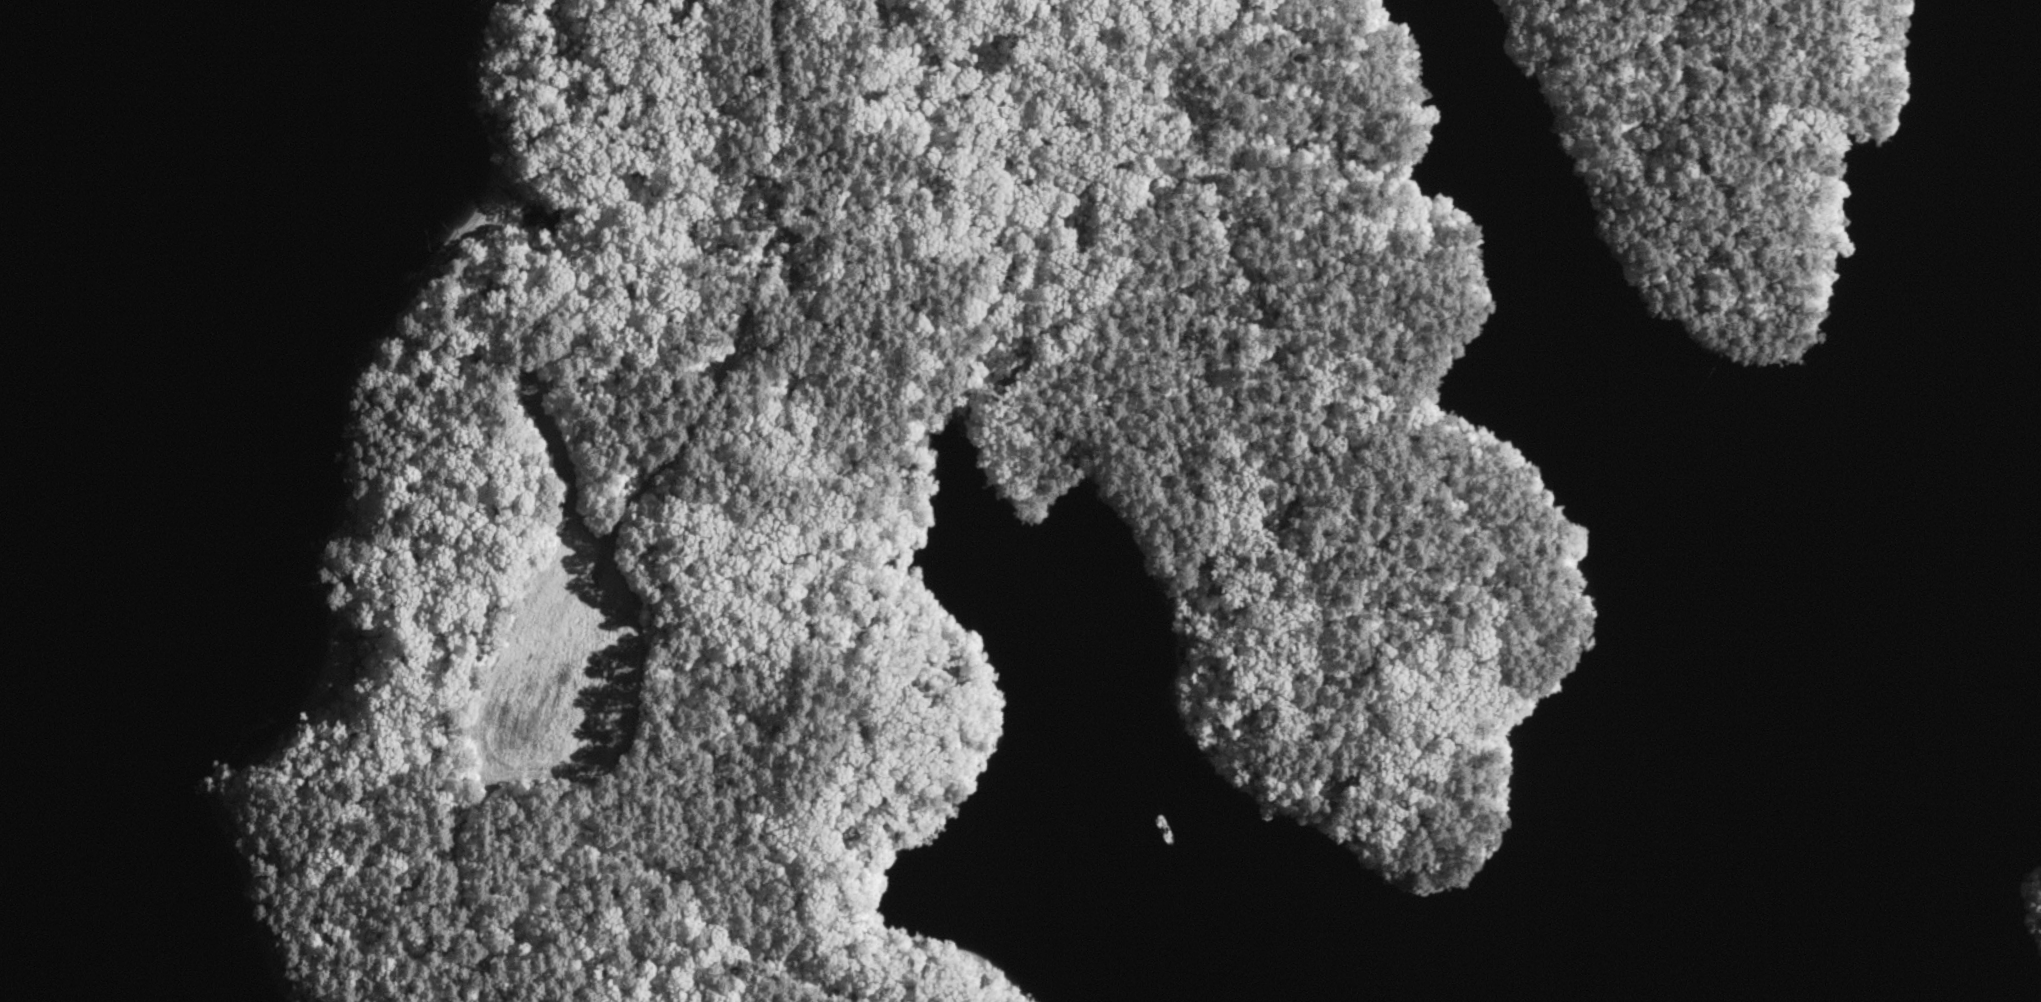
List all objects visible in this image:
road: (608, 504)

